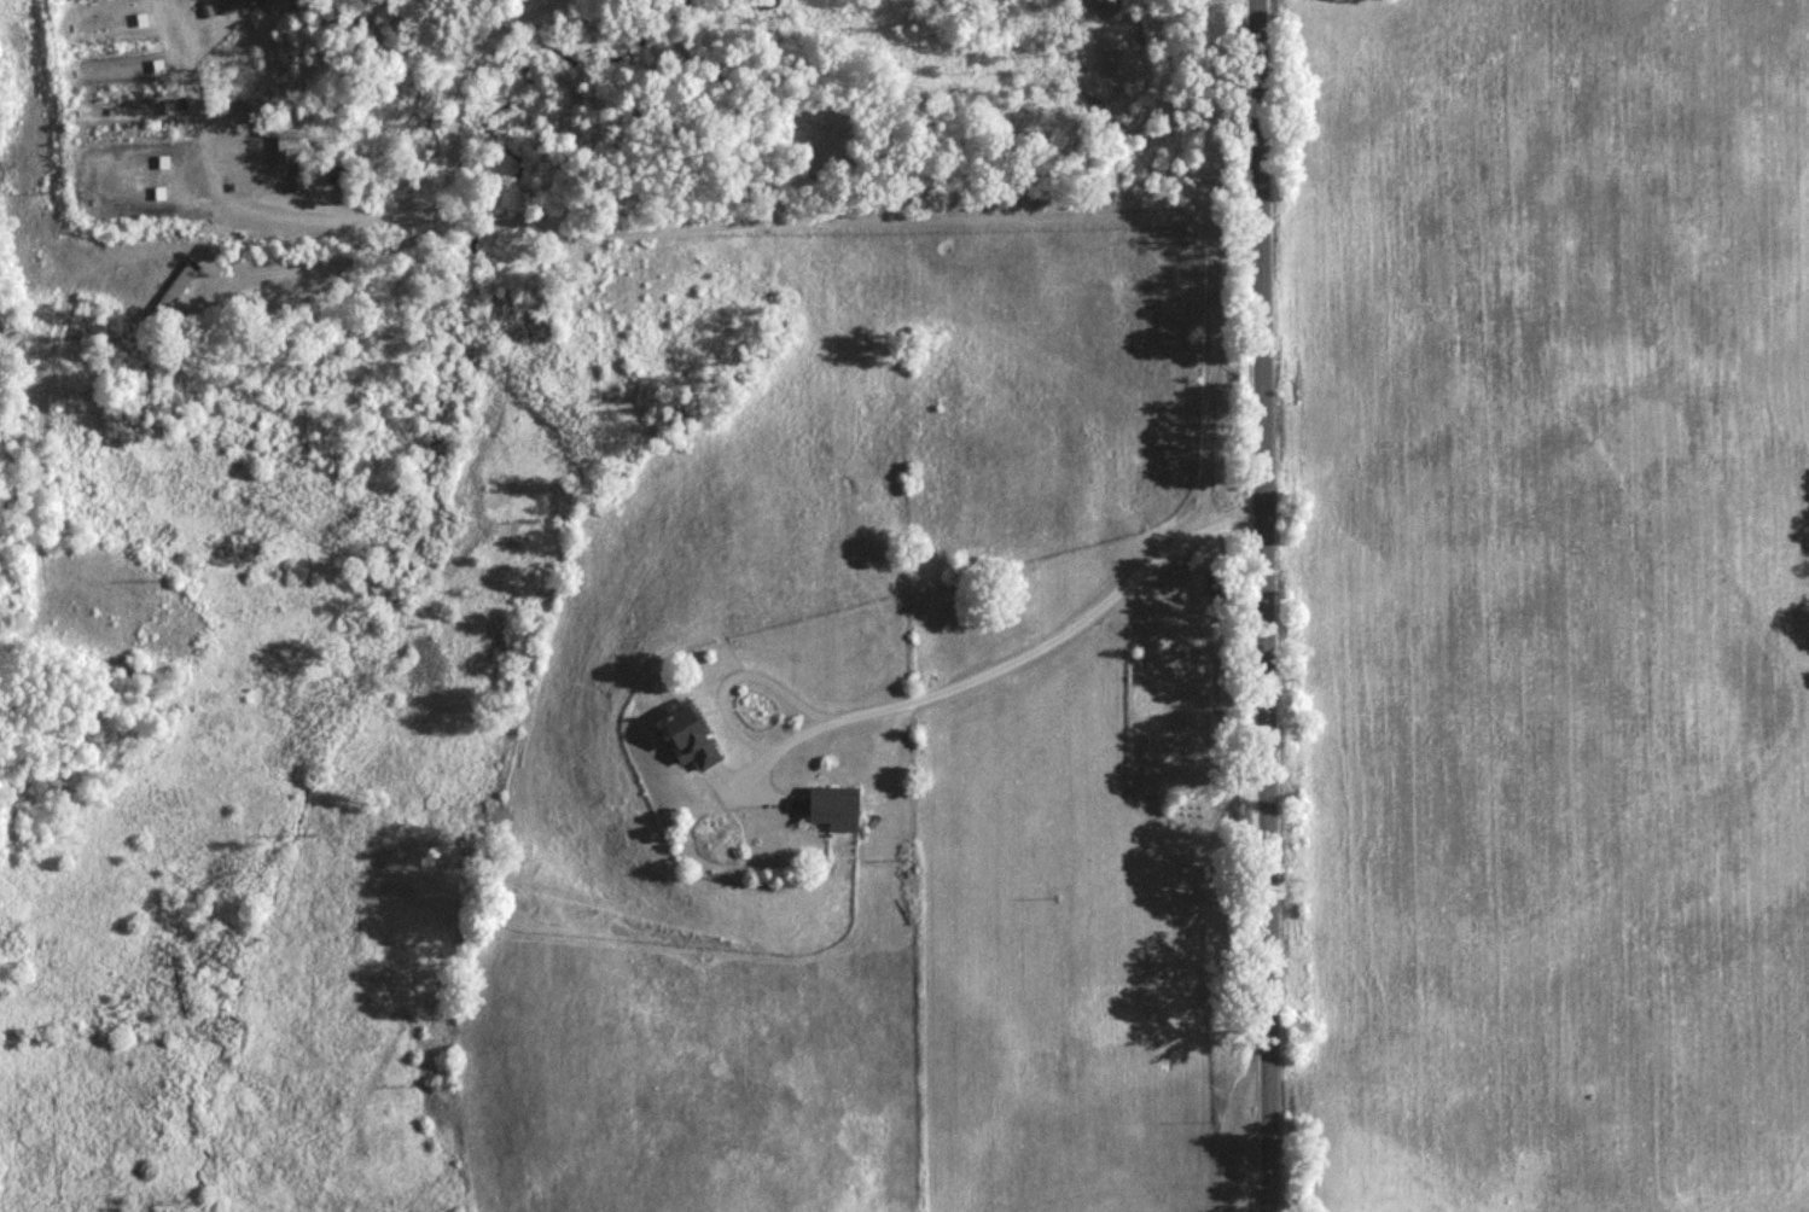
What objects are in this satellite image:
building: (243, 7)
road: (904, 171)
road: (359, 220)
road: (772, 223)
building: (175, 296)
crop: (1551, 599)
road: (1264, 605)
road: (935, 689)
building: (690, 742)
building: (833, 814)

